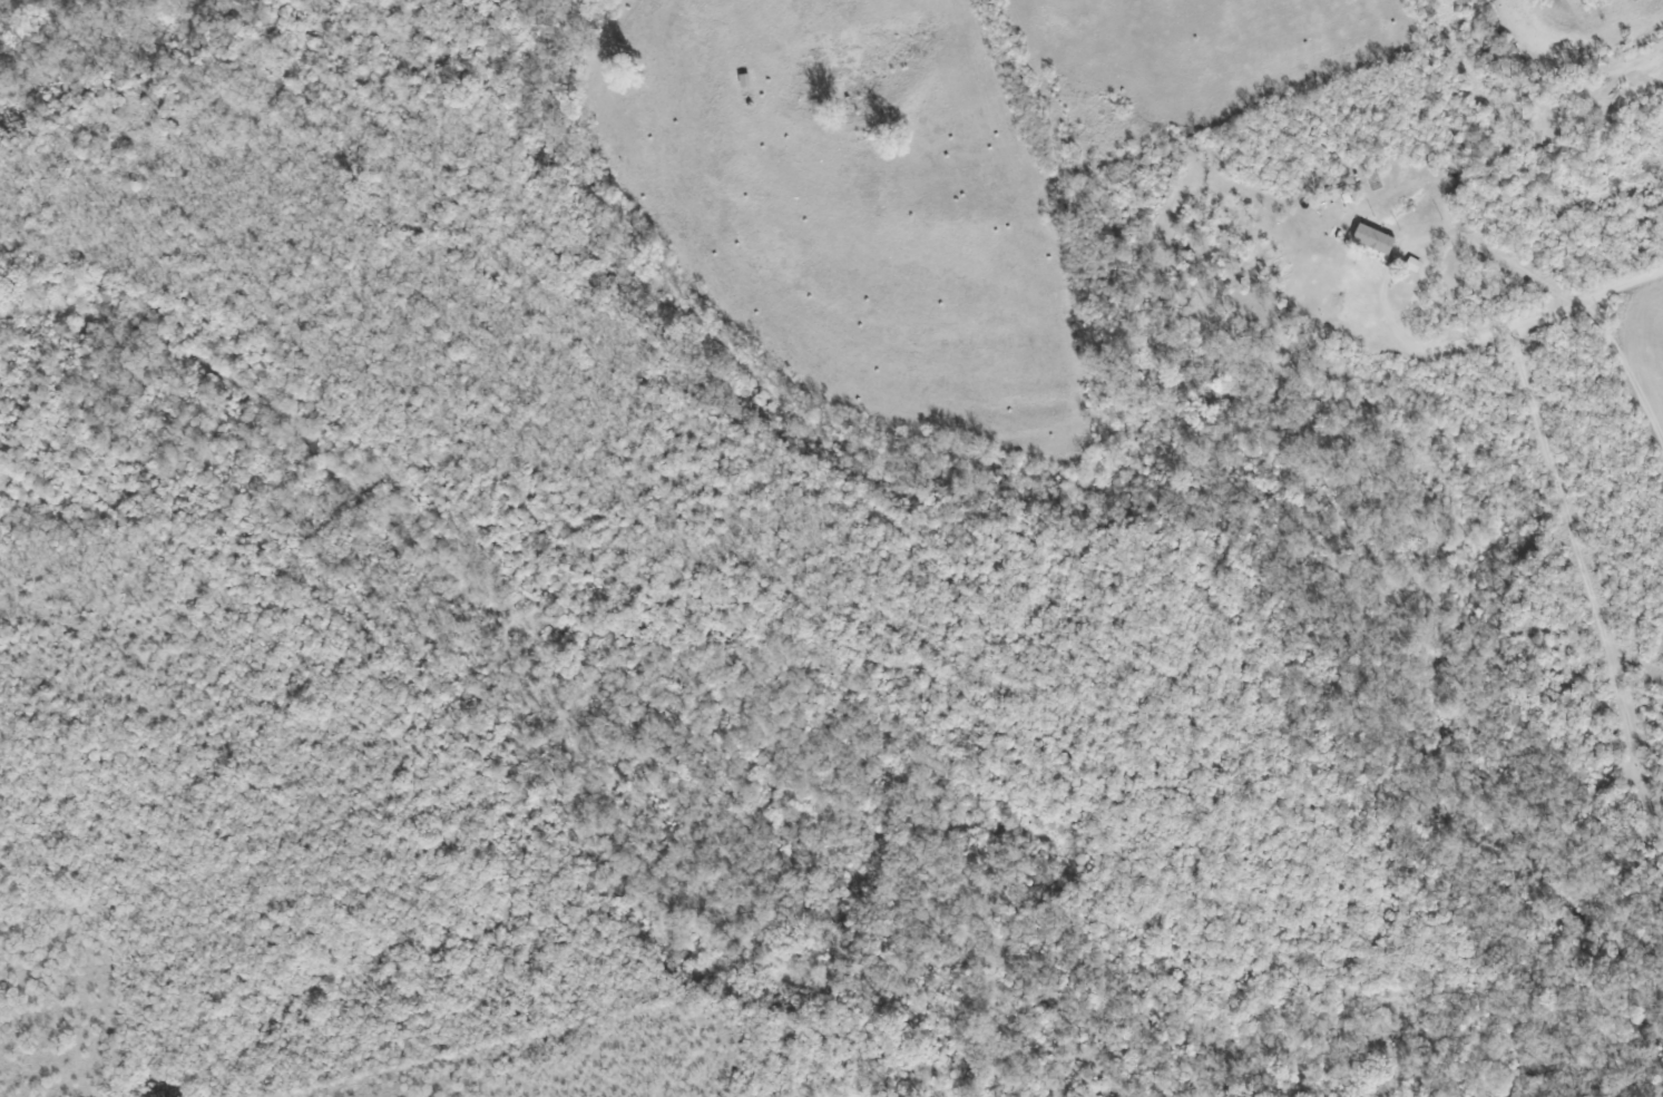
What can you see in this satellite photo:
building: (1372, 238)

